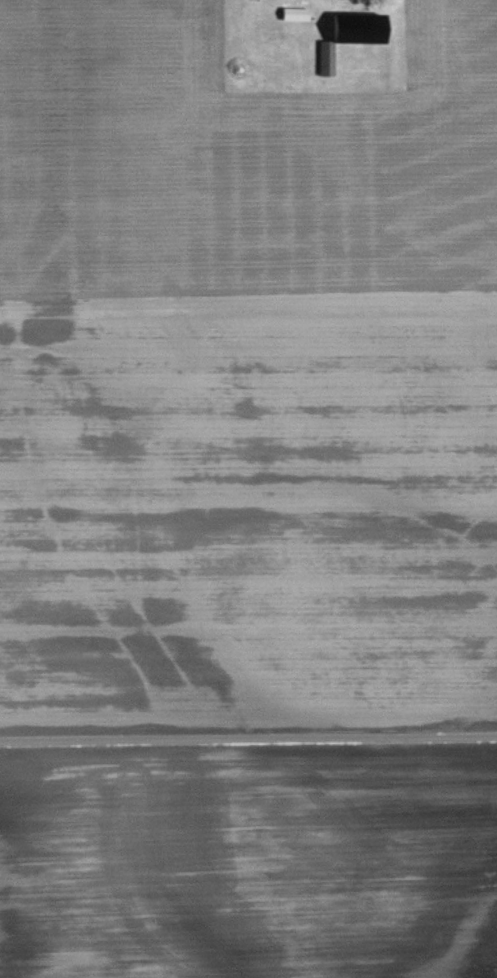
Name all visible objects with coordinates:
road: (248, 736)

